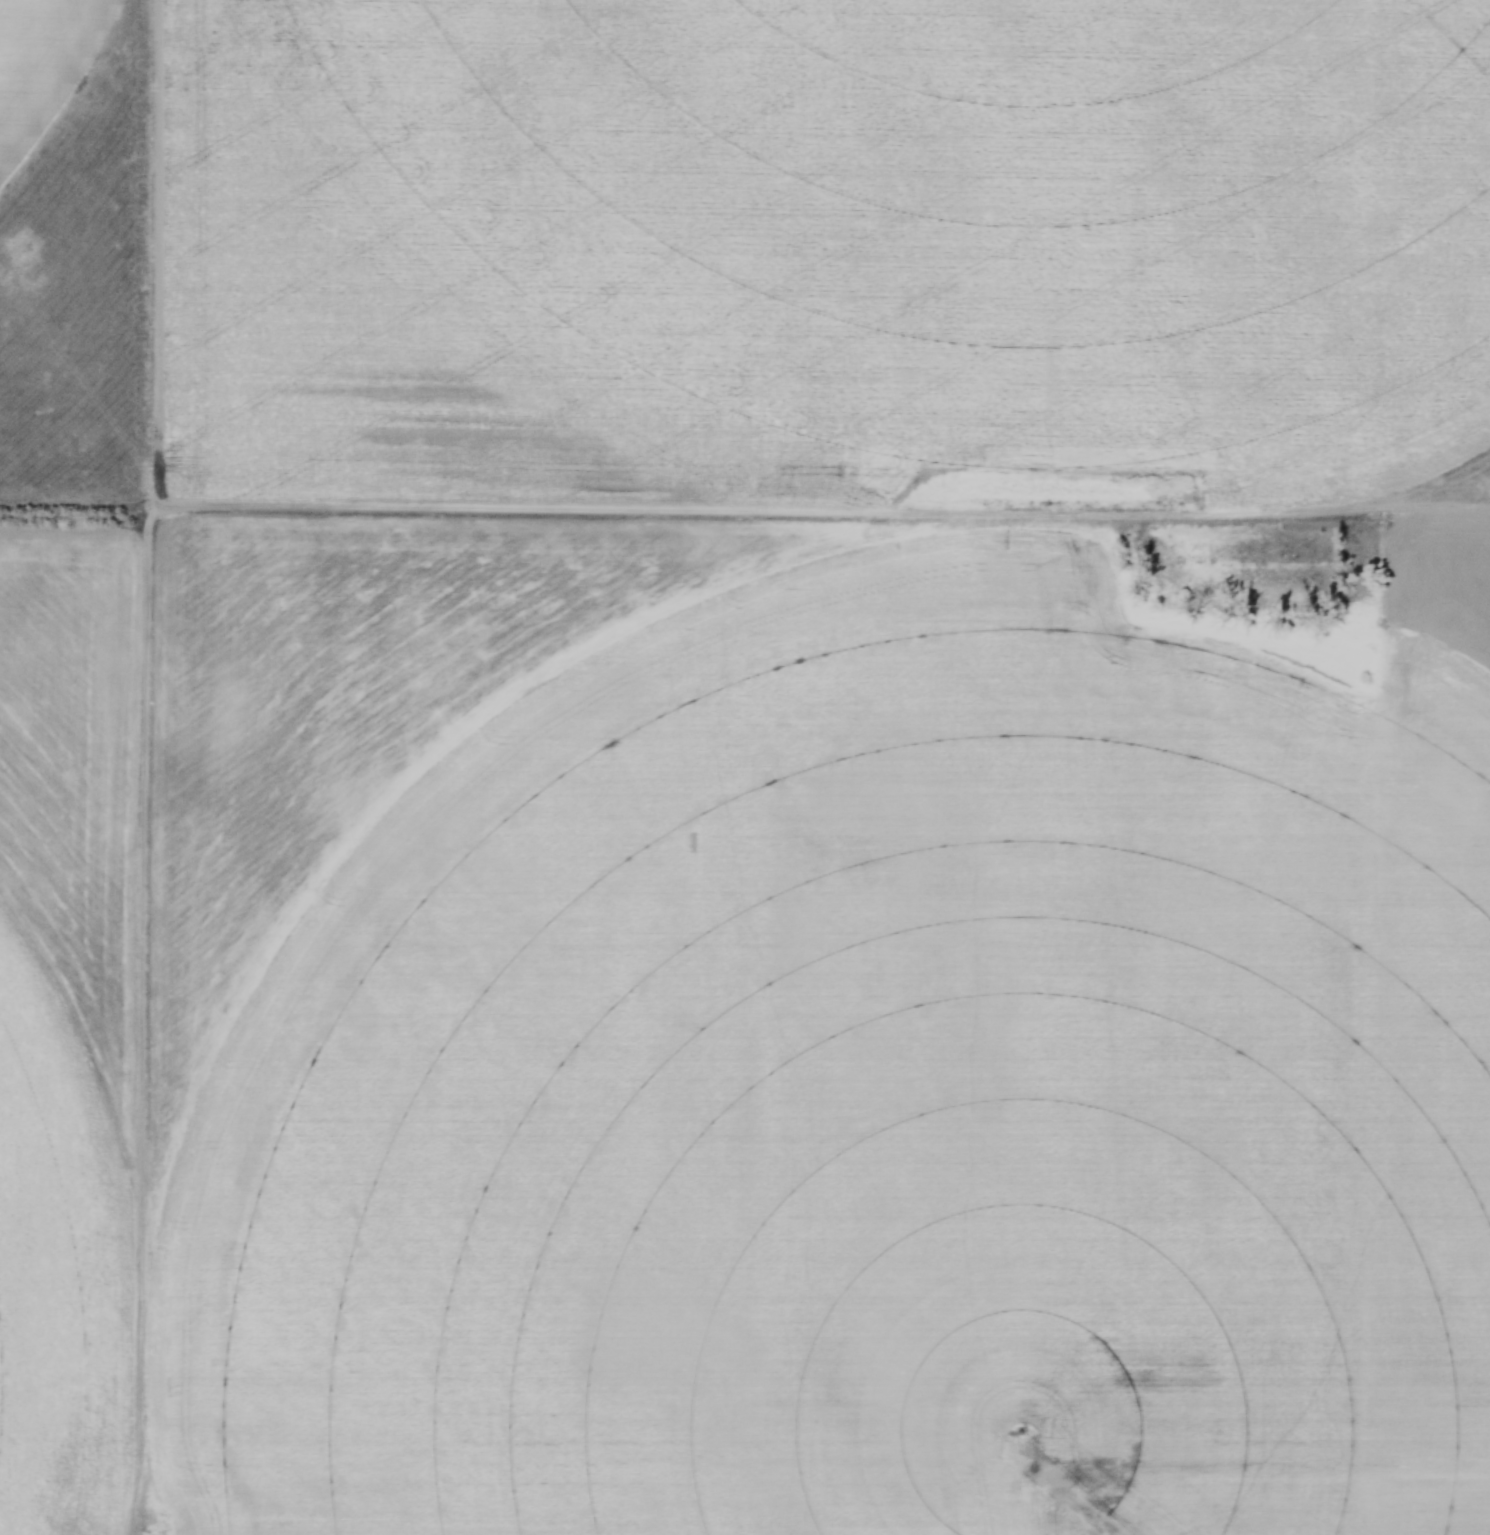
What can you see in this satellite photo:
crop: (40, 60)
crop: (770, 785)

